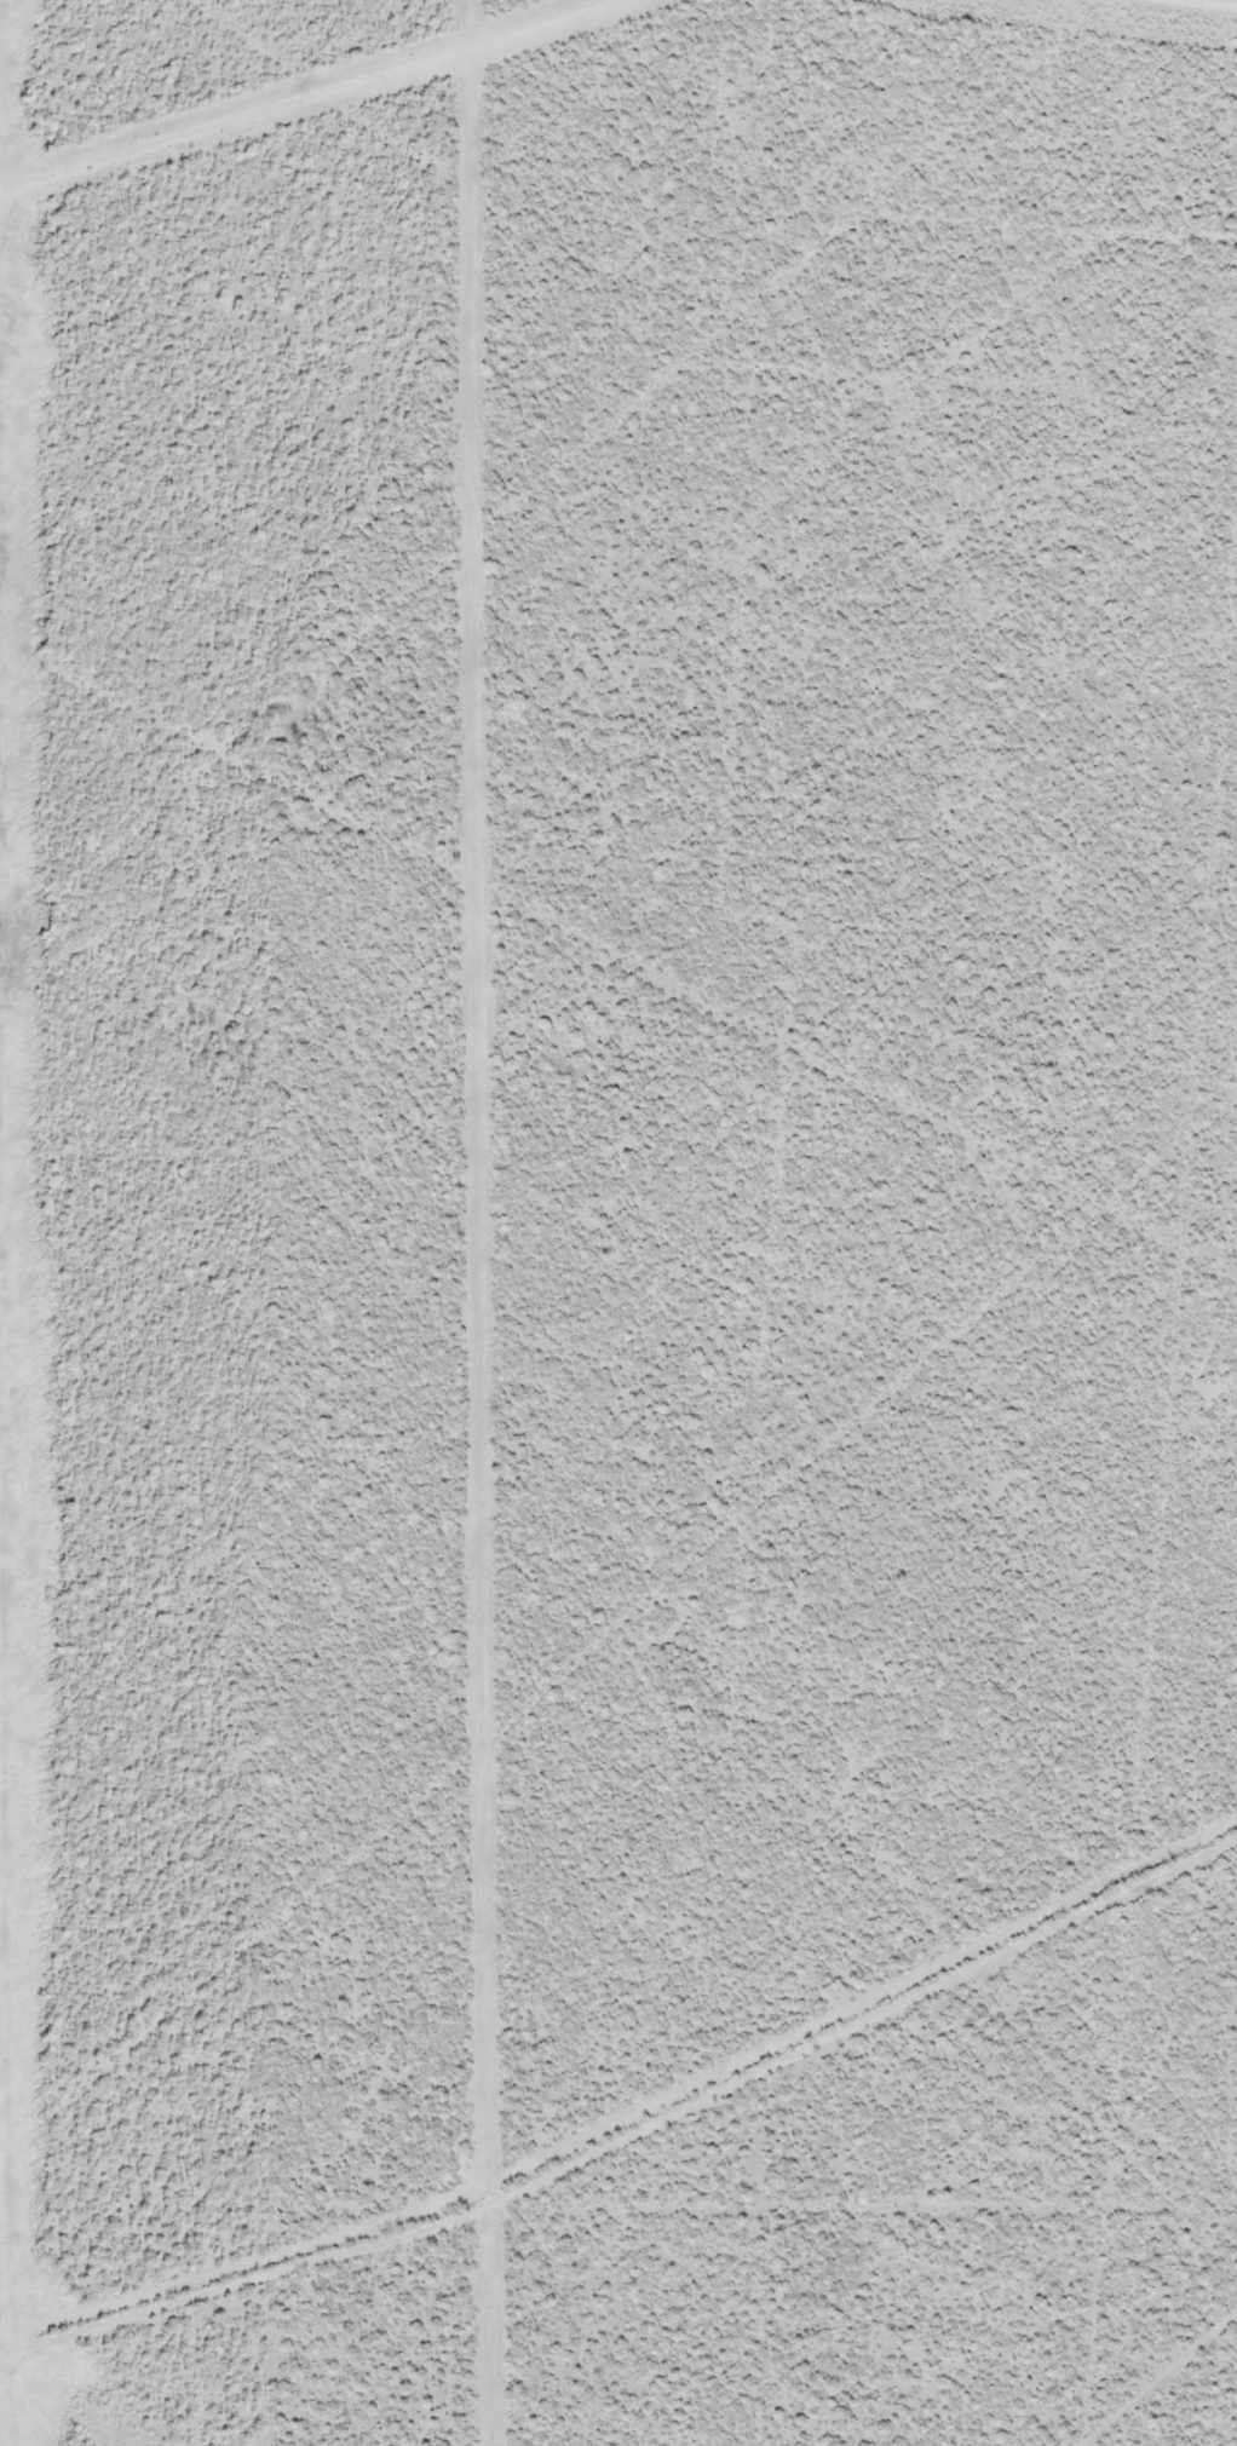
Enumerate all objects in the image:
road: (508, 1222)

